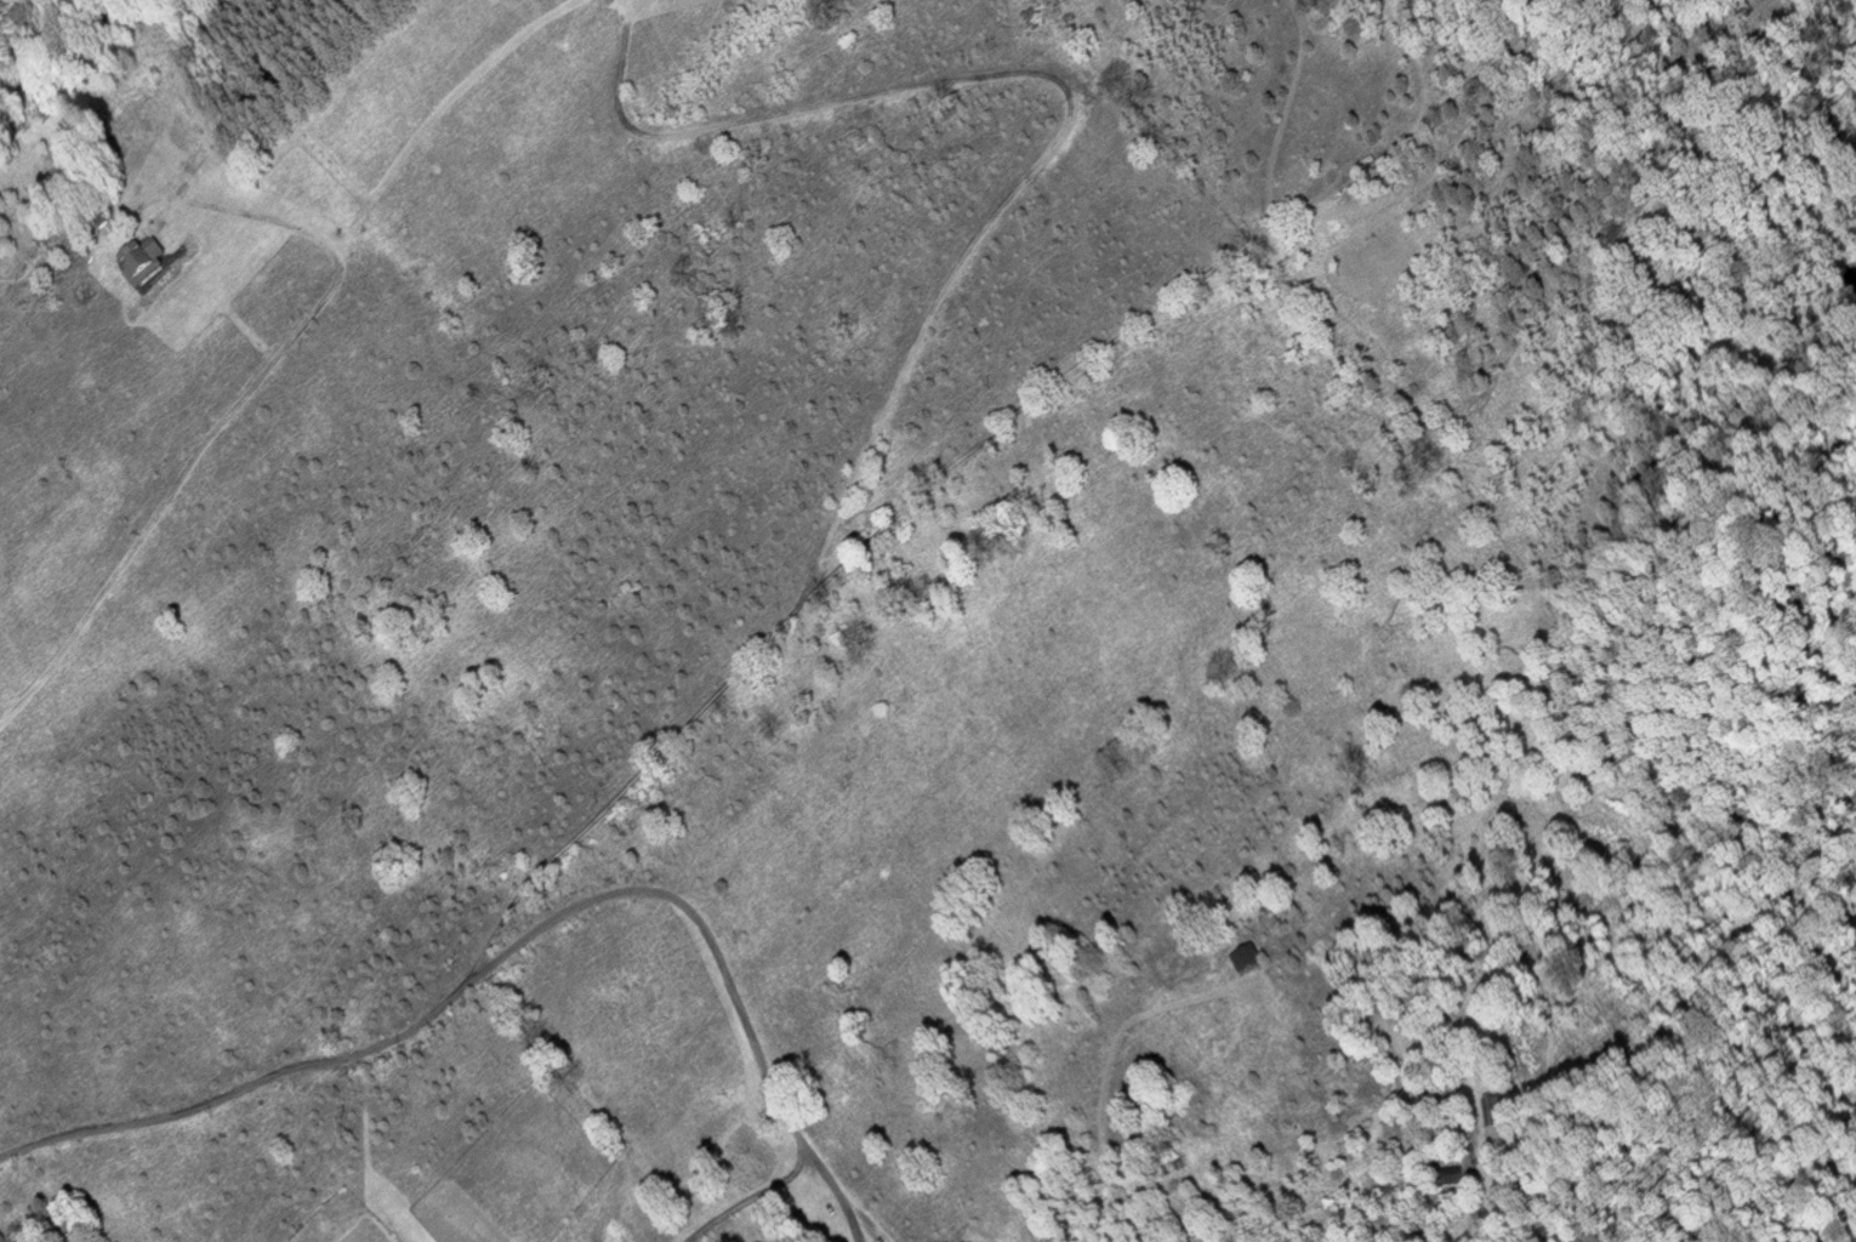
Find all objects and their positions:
building: (150, 263)
road: (939, 301)
road: (1065, 372)
road: (241, 400)
road: (536, 935)
building: (1446, 1175)
road: (836, 1186)

